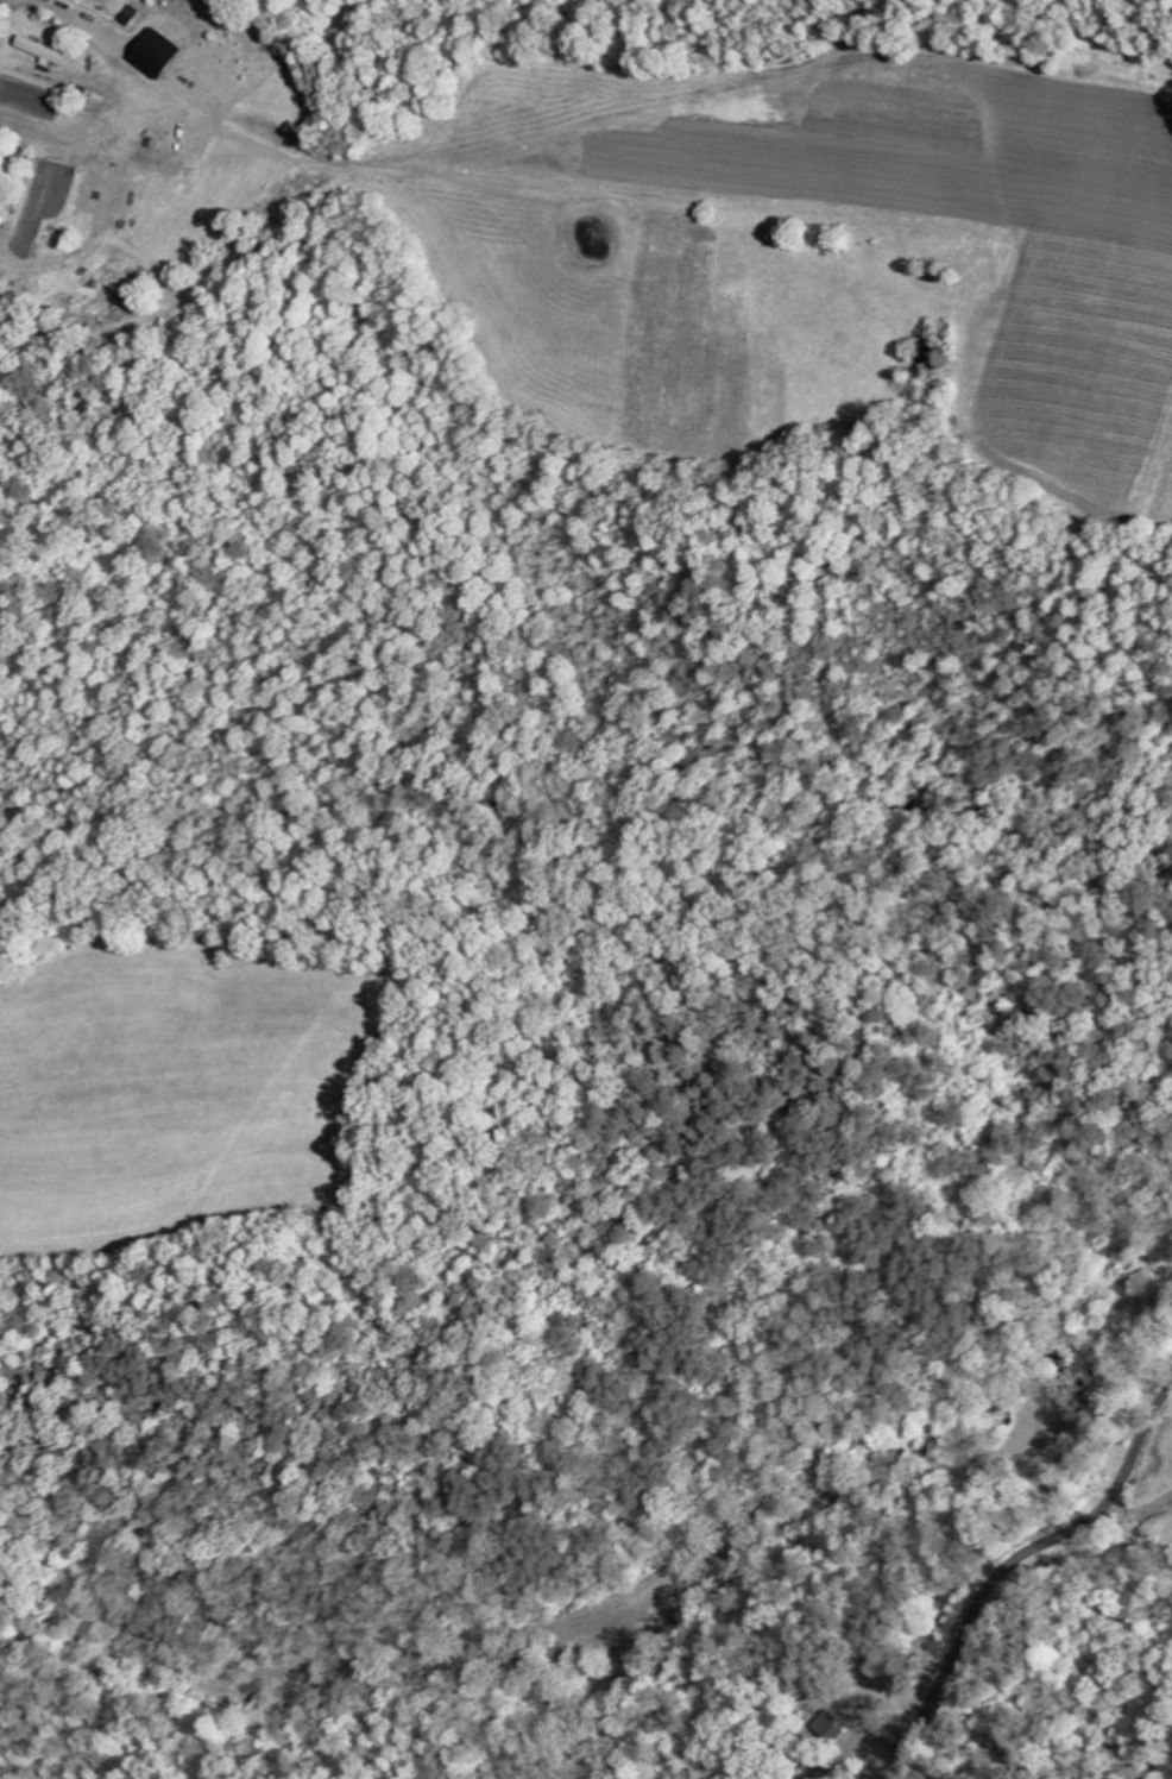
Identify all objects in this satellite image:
building: (59, 0)
building: (137, 14)
building: (50, 50)
building: (165, 52)
building: (2, 207)
road: (1015, 1566)

